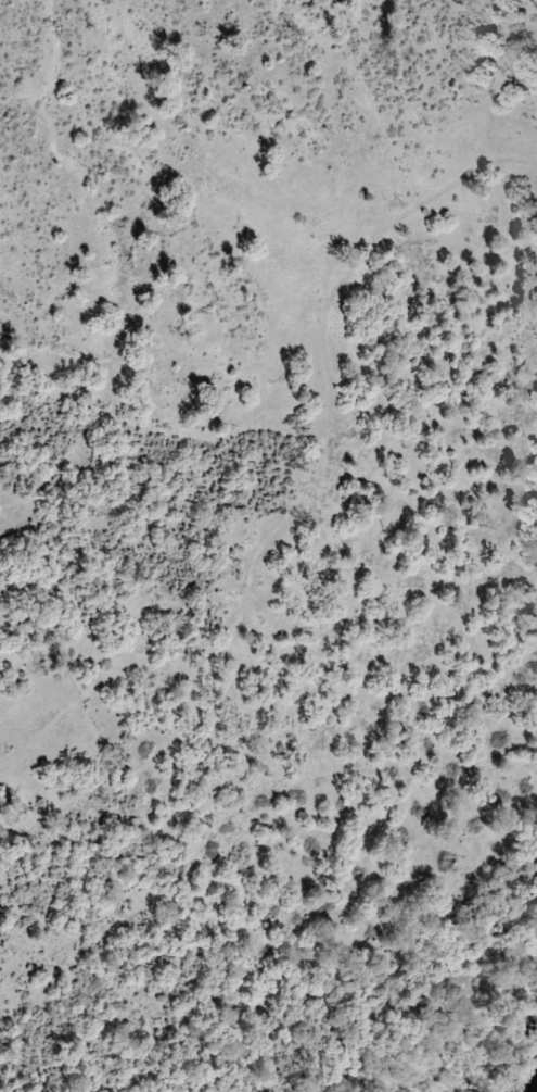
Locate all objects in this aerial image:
river: (528, 1082)

